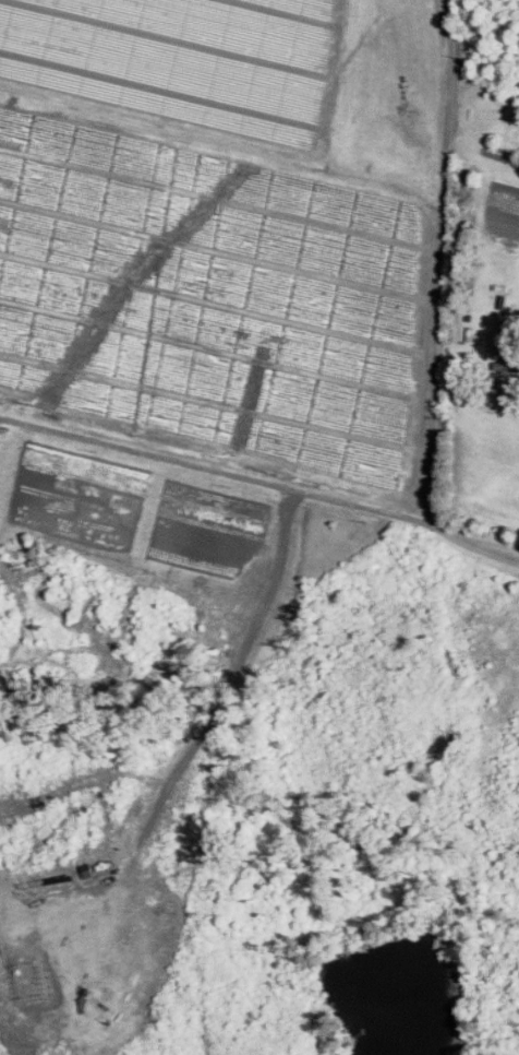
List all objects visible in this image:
building: (508, 359)
road: (261, 479)

